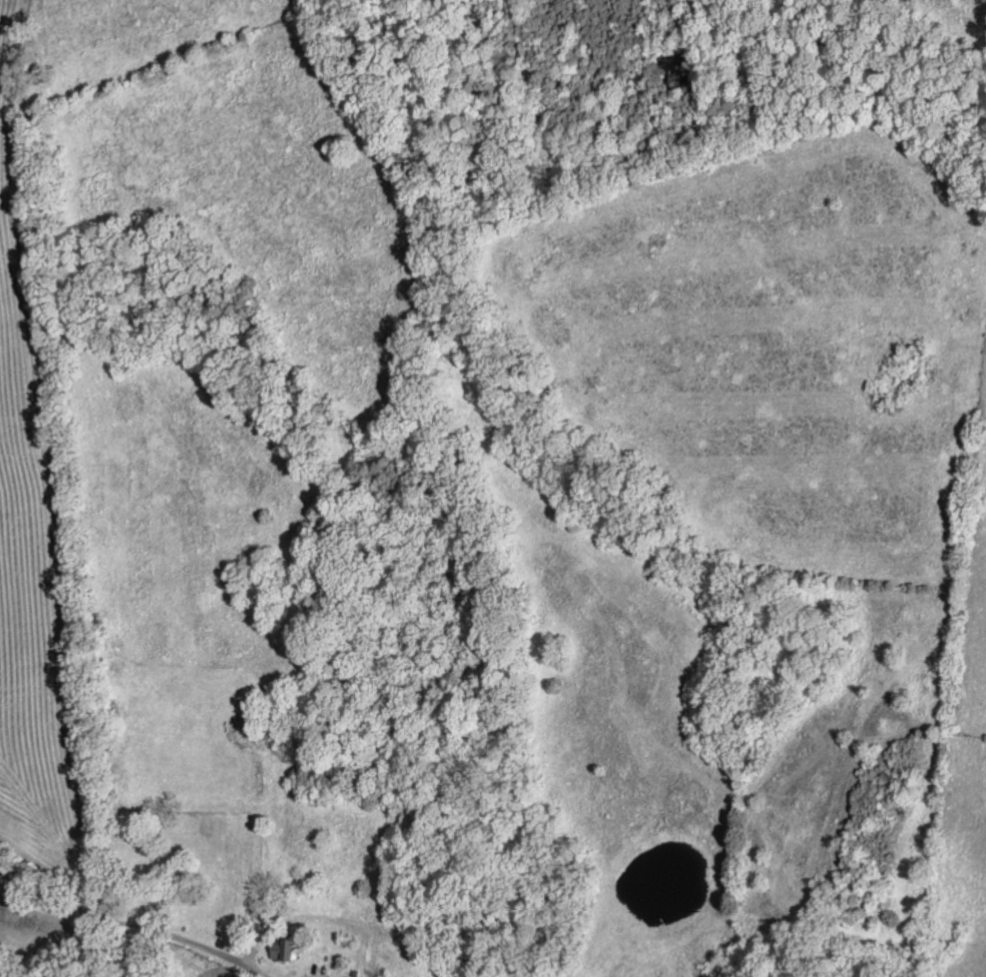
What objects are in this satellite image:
road: (129, 927)
building: (287, 949)

